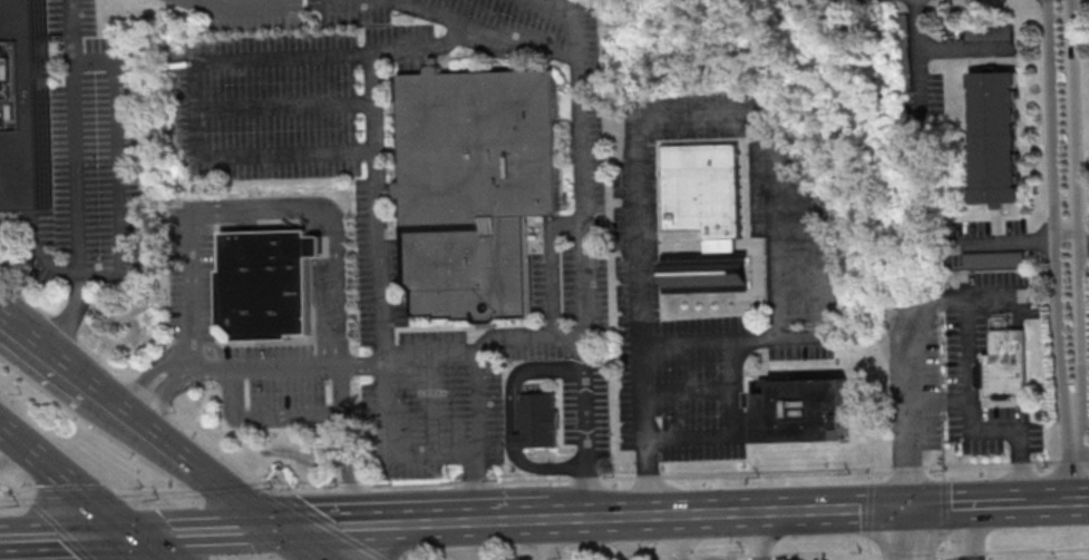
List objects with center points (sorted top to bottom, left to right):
road: (264, 1)
road: (456, 21)
building: (988, 30)
road: (963, 48)
building: (901, 49)
road: (918, 79)
building: (27, 106)
road: (194, 109)
building: (995, 137)
road: (74, 140)
road: (116, 166)
building: (474, 187)
road: (1080, 205)
road: (1057, 206)
road: (586, 212)
building: (706, 217)
road: (331, 219)
road: (1069, 228)
road: (640, 230)
road: (1085, 238)
road: (1013, 244)
road: (39, 252)
road: (379, 256)
building: (993, 258)
road: (821, 267)
road: (586, 276)
building: (265, 283)
road: (192, 287)
road: (995, 294)
road: (966, 302)
road: (776, 317)
road: (66, 318)
road: (585, 335)
road: (45, 350)
road: (266, 362)
building: (1007, 366)
road: (476, 370)
road: (148, 372)
road: (522, 372)
road: (164, 392)
road: (943, 401)
road: (117, 405)
building: (804, 412)
road: (261, 416)
building: (538, 422)
road: (738, 433)
road: (346, 444)
road: (8, 450)
road: (383, 453)
road: (1076, 454)
road: (944, 472)
road: (0, 474)
road: (873, 474)
road: (211, 478)
road: (257, 481)
road: (508, 481)
road: (69, 482)
road: (223, 485)
road: (153, 490)
road: (72, 493)
road: (590, 493)
road: (27, 494)
road: (1056, 500)
road: (971, 504)
traffic signals: (917, 507)
road: (946, 508)
road: (869, 509)
road: (736, 513)
road: (415, 523)
road: (331, 524)
road: (61, 528)
traffic signals: (276, 529)
road: (206, 532)
road: (973, 532)
road: (917, 533)
road: (765, 536)
traffic signals: (137, 537)
road: (68, 538)
road: (638, 538)
road: (681, 538)
road: (555, 540)
road: (473, 541)
road: (296, 544)
road: (947, 544)
road: (152, 548)
road: (868, 548)
road: (0, 550)
road: (1011, 550)
road: (719, 553)
road: (906, 553)
road: (746, 557)
road: (937, 557)

